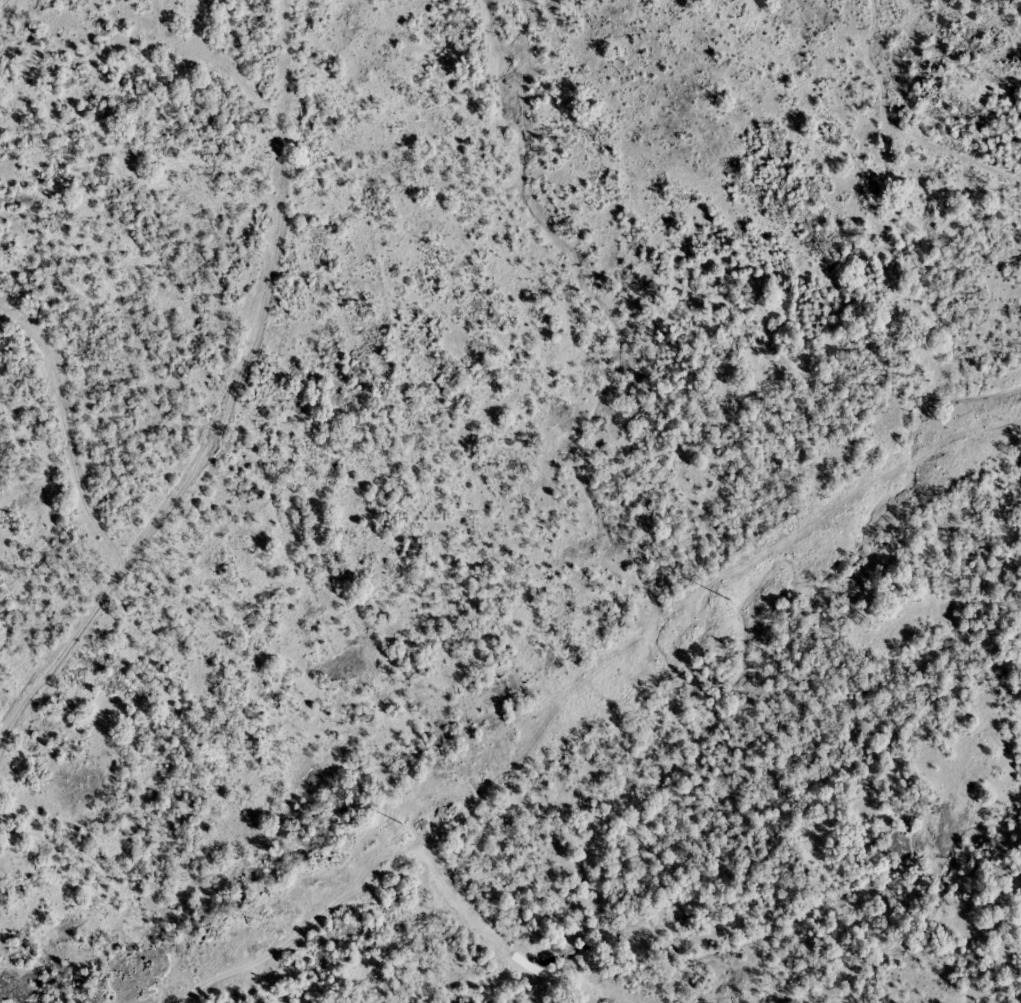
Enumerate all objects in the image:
road: (892, 132)
road: (246, 418)
power tower: (728, 598)
power tower: (401, 822)
road: (416, 860)

